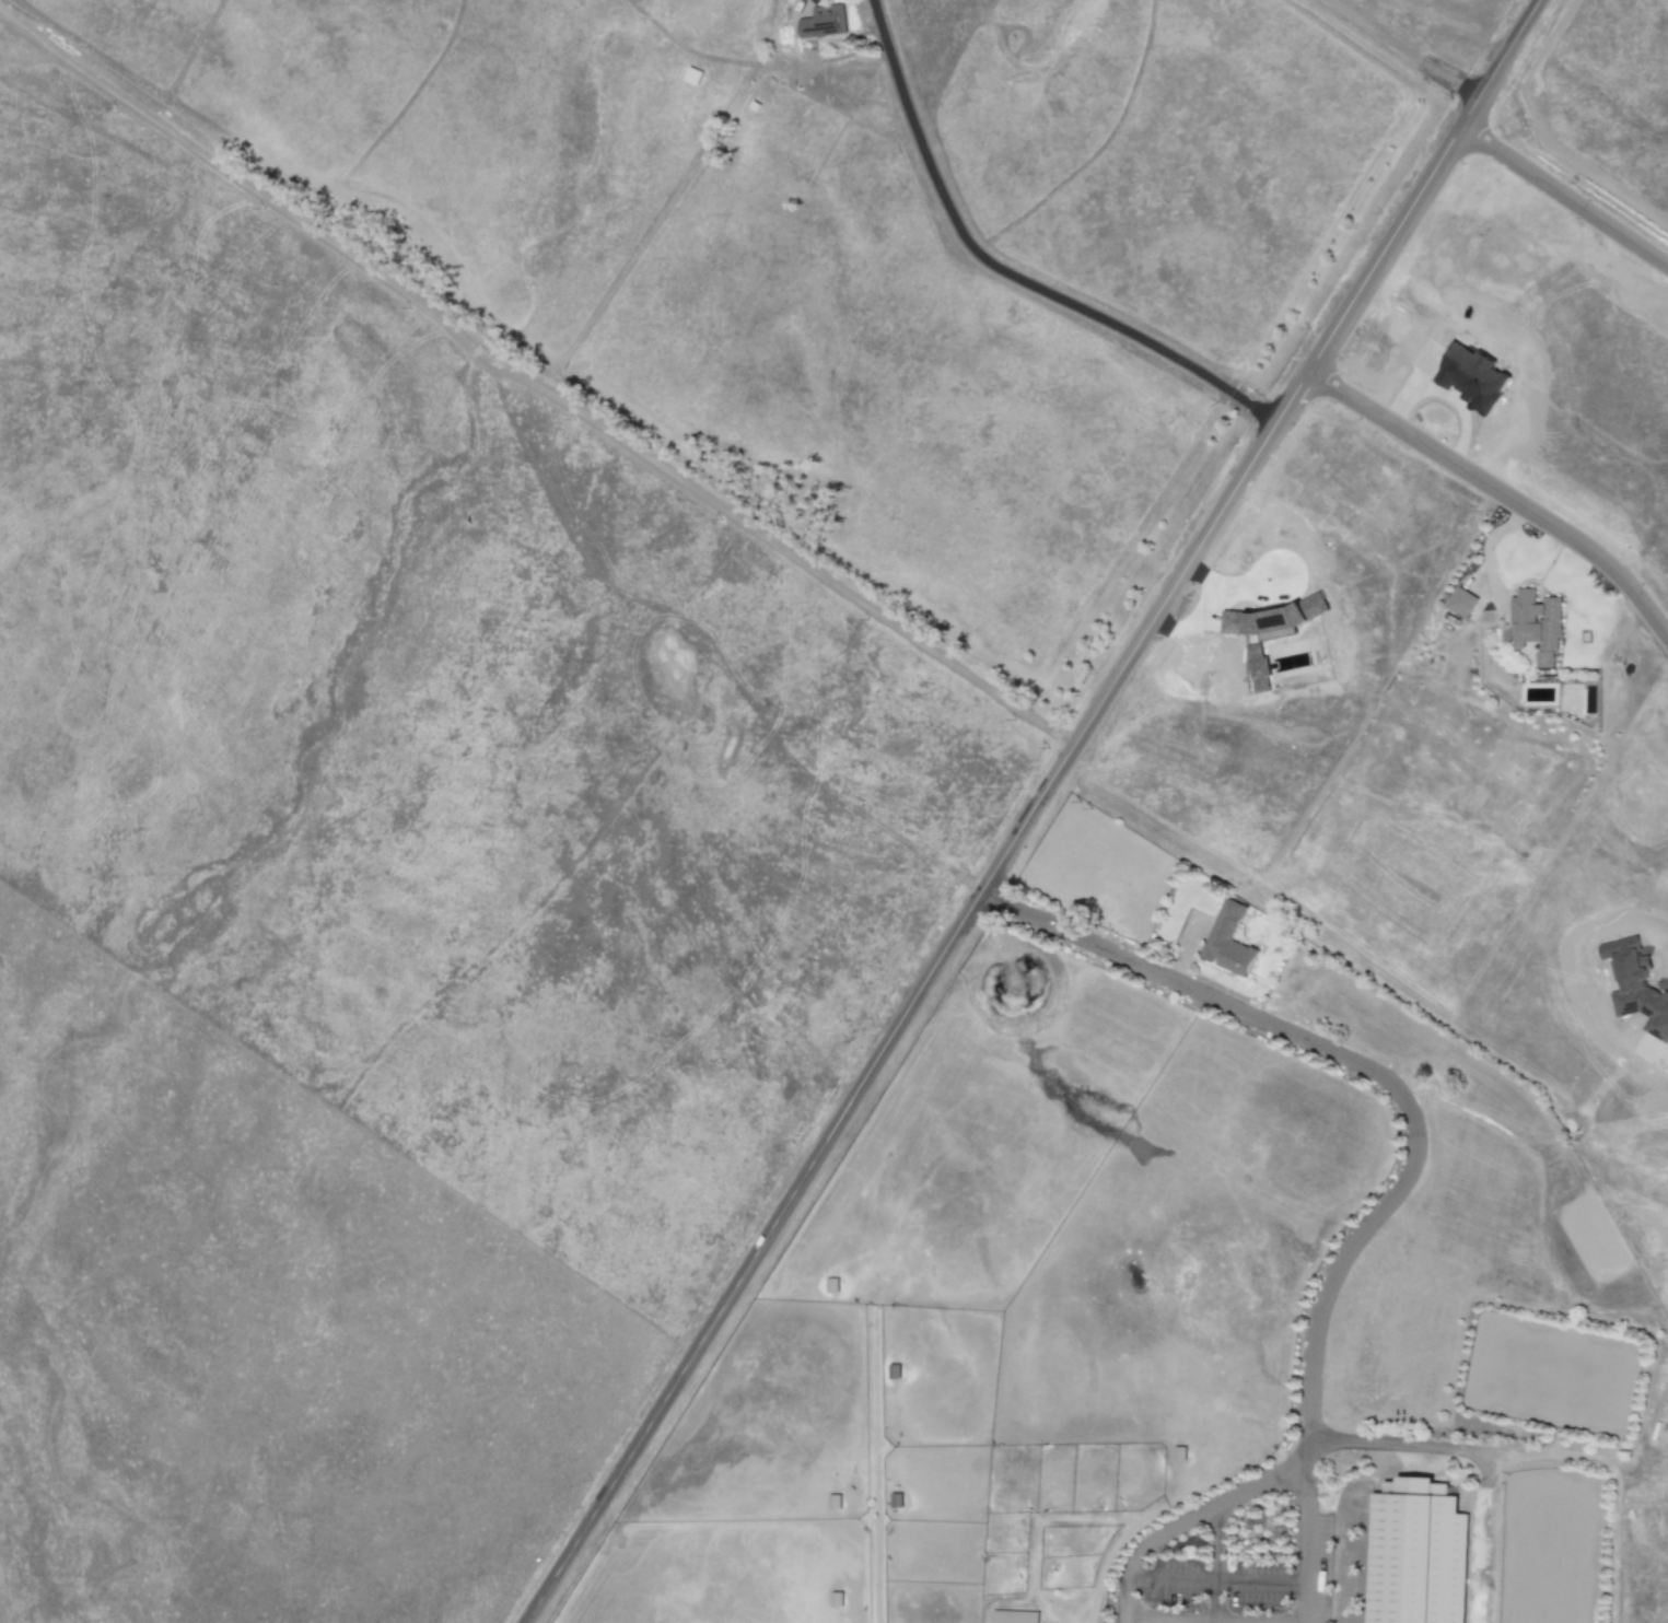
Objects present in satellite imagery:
building: (824, 23)
road: (1564, 196)
road: (1004, 271)
road: (530, 389)
road: (1501, 489)
road: (1489, 544)
building: (1461, 603)
building: (1274, 619)
building: (1536, 624)
building: (1258, 668)
road: (1033, 811)
building: (1228, 941)
road: (1413, 1139)
building: (1179, 1455)
road: (1229, 1495)
building: (1416, 1554)
road: (1218, 1561)
road: (1214, 1580)
building: (837, 1599)
building: (1014, 1616)

